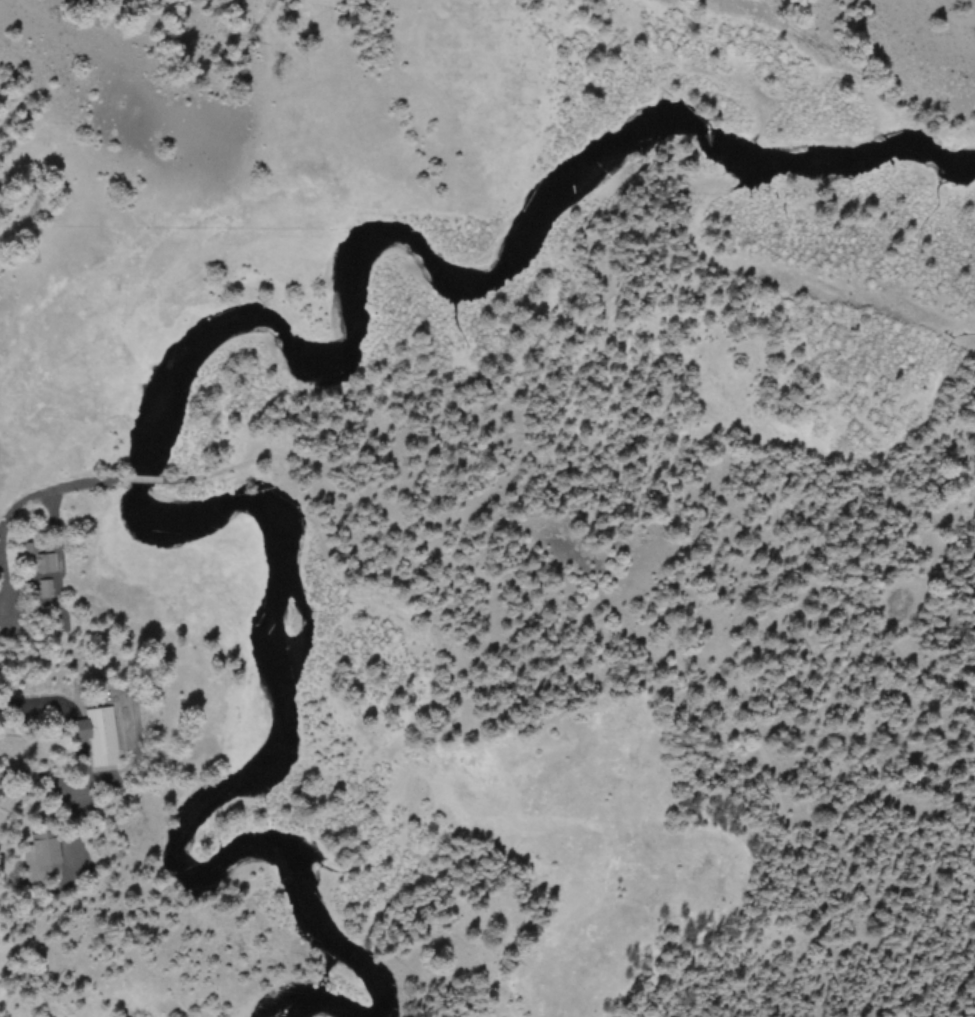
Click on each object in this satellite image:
river: (182, 370)
road: (28, 701)
building: (101, 735)
building: (46, 853)

